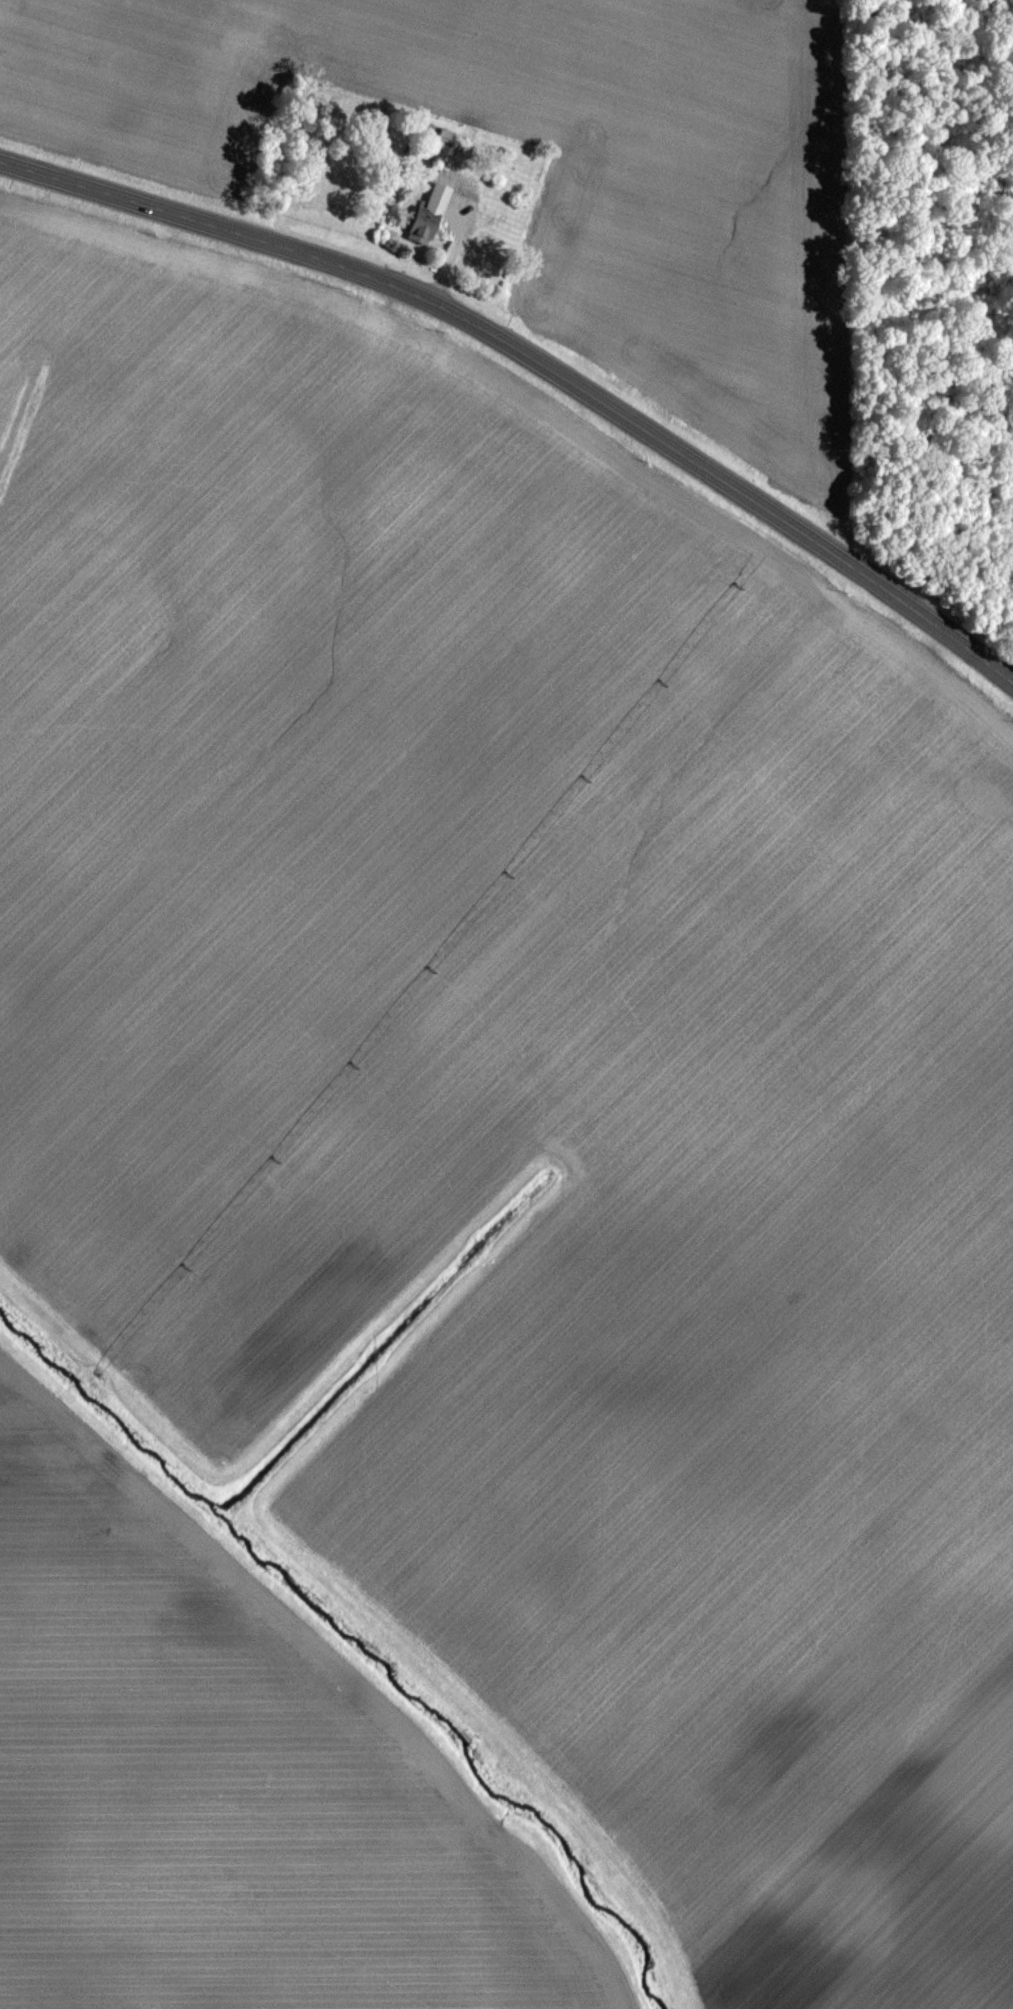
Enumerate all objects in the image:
building: (428, 224)
road: (536, 359)

